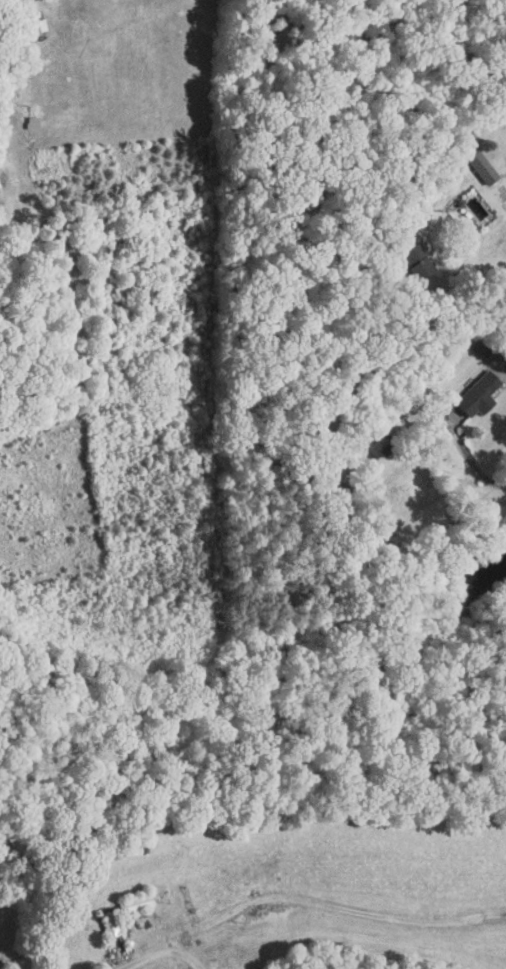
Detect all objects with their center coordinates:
building: (25, 16)
road: (453, 153)
building: (470, 160)
building: (402, 250)
road: (504, 372)
building: (465, 387)
road: (344, 906)
road: (156, 952)
road: (181, 953)

